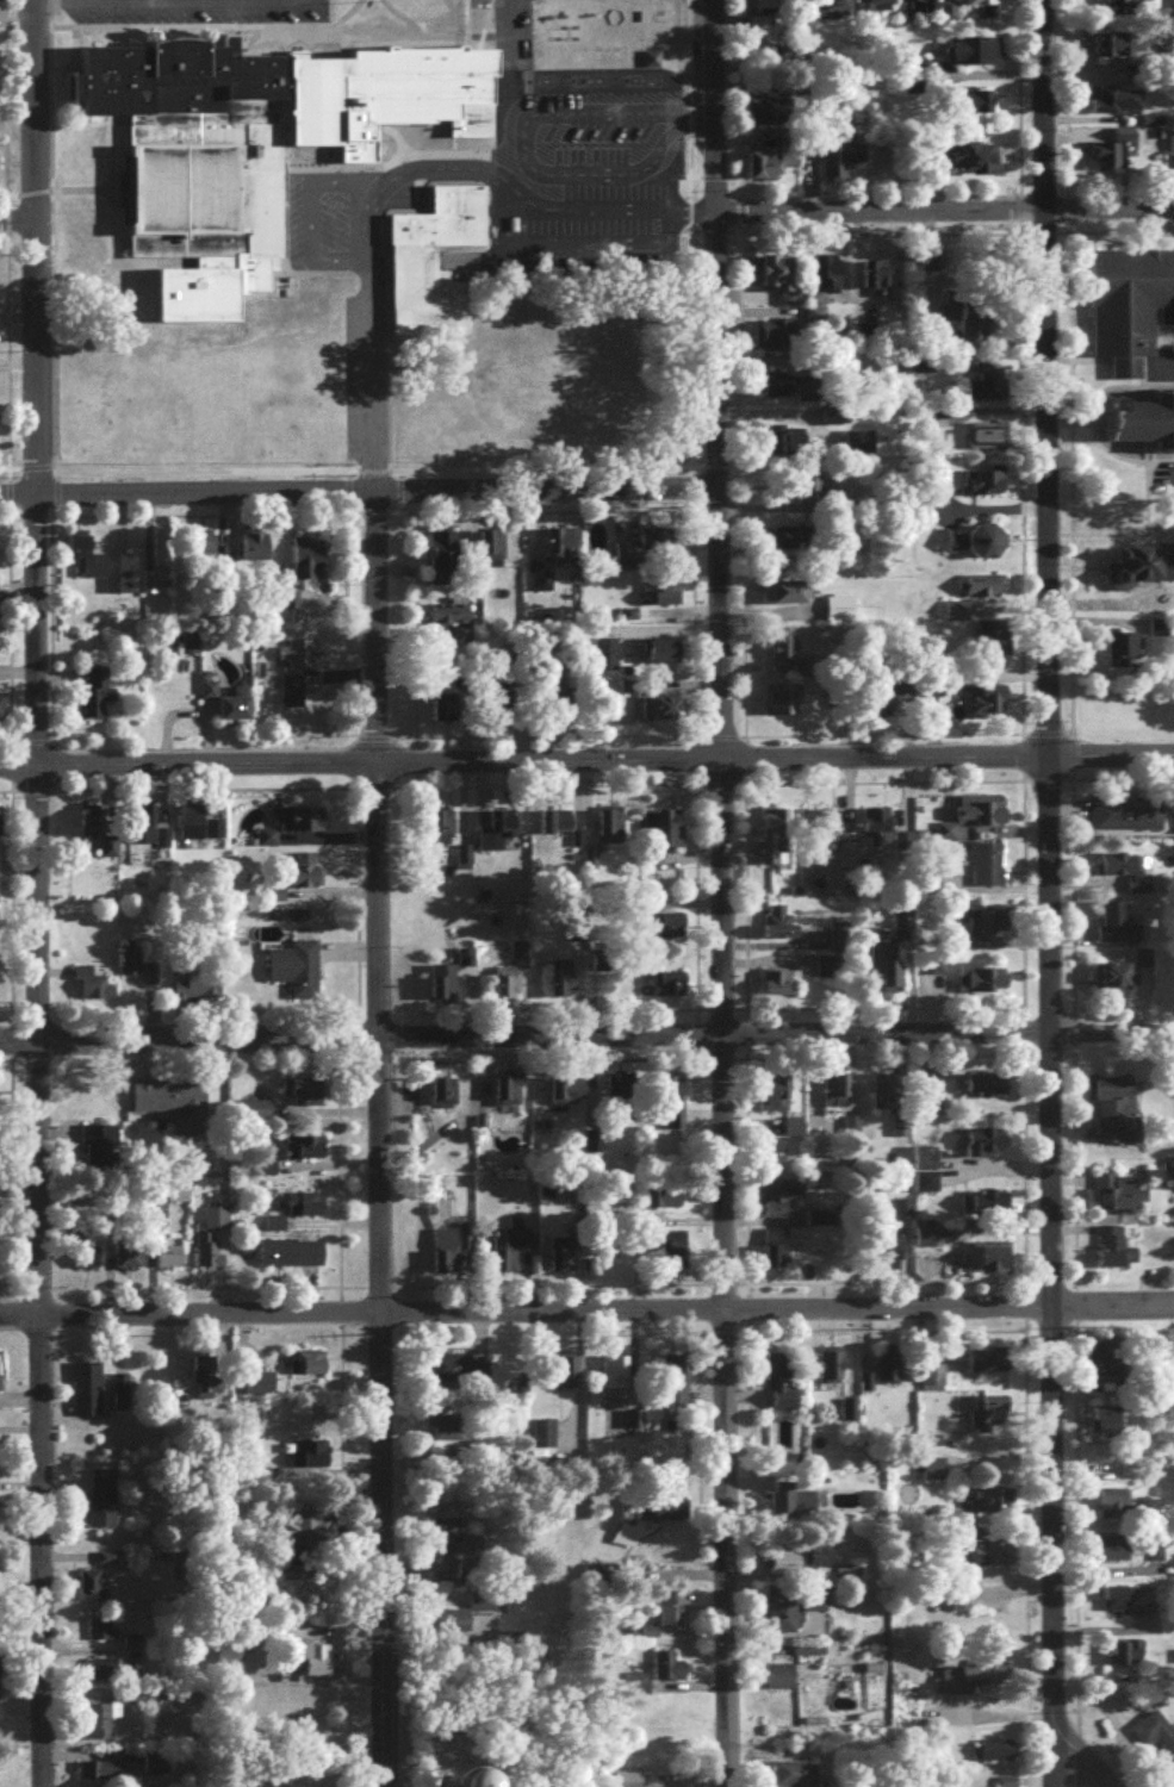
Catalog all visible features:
road: (190, 0)
building: (1, 5)
building: (839, 5)
building: (981, 5)
building: (1130, 7)
building: (770, 8)
building: (880, 8)
building: (928, 10)
parking lot: (186, 15)
building: (1118, 49)
building: (975, 56)
building: (977, 106)
building: (1114, 106)
building: (769, 117)
building: (1169, 149)
building: (1112, 156)
building: (257, 157)
building: (971, 163)
building: (840, 164)
building: (770, 168)
road: (604, 178)
parking lot: (596, 180)
road: (1107, 212)
road: (876, 216)
road: (13, 220)
parking lot: (330, 232)
building: (429, 251)
building: (781, 282)
building: (872, 284)
building: (820, 288)
building: (1129, 311)
building: (968, 323)
building: (775, 338)
road: (371, 356)
building: (777, 391)
building: (983, 391)
building: (1142, 424)
building: (984, 442)
building: (783, 447)
road: (1172, 480)
building: (986, 484)
building: (809, 492)
road: (355, 494)
building: (781, 544)
building: (986, 547)
building: (561, 548)
building: (203, 549)
building: (253, 550)
building: (445, 552)
building: (490, 552)
building: (645, 553)
building: (168, 565)
building: (308, 565)
building: (1149, 566)
building: (100, 569)
building: (981, 591)
building: (789, 597)
building: (660, 598)
building: (311, 610)
building: (1147, 611)
building: (837, 615)
building: (949, 615)
building: (452, 627)
building: (1156, 634)
building: (990, 645)
building: (781, 649)
building: (1120, 652)
building: (664, 656)
building: (302, 659)
building: (603, 660)
building: (908, 696)
building: (97, 698)
building: (292, 699)
building: (778, 705)
building: (988, 705)
building: (1, 710)
building: (237, 711)
building: (659, 714)
road: (1108, 760)
road: (521, 764)
building: (979, 817)
building: (1124, 821)
building: (872, 822)
building: (557, 827)
building: (201, 829)
building: (294, 829)
building: (0, 830)
building: (143, 830)
building: (609, 830)
building: (99, 833)
building: (441, 833)
building: (663, 834)
building: (496, 835)
building: (771, 841)
building: (986, 870)
building: (1125, 876)
road: (31, 893)
road: (714, 893)
road: (1044, 893)
building: (986, 924)
building: (672, 928)
building: (777, 928)
building: (1111, 928)
building: (833, 960)
building: (130, 967)
building: (933, 972)
building: (297, 973)
building: (1123, 979)
building: (889, 983)
building: (561, 985)
building: (981, 985)
building: (783, 986)
building: (443, 989)
building: (505, 989)
building: (669, 990)
building: (197, 994)
road: (586, 1039)
building: (983, 1092)
building: (508, 1096)
building: (566, 1096)
building: (303, 1097)
building: (443, 1097)
building: (883, 1098)
building: (170, 1103)
building: (771, 1104)
building: (671, 1113)
building: (257, 1116)
building: (1113, 1116)
building: (897, 1133)
building: (784, 1134)
road: (378, 1140)
building: (594, 1146)
building: (986, 1147)
building: (101, 1151)
building: (308, 1154)
building: (924, 1176)
building: (1112, 1197)
building: (669, 1203)
building: (779, 1203)
building: (988, 1209)
building: (308, 1210)
building: (901, 1214)
building: (216, 1223)
building: (275, 1229)
building: (924, 1243)
building: (672, 1251)
building: (511, 1253)
building: (776, 1254)
building: (1116, 1254)
building: (446, 1256)
building: (128, 1258)
building: (291, 1259)
building: (563, 1259)
building: (211, 1260)
building: (892, 1260)
building: (87, 1262)
building: (169, 1262)
building: (988, 1263)
road: (1108, 1308)
road: (522, 1315)
building: (984, 1365)
building: (1108, 1366)
building: (308, 1368)
building: (888, 1369)
building: (830, 1372)
building: (453, 1374)
building: (563, 1376)
building: (615, 1377)
building: (931, 1382)
building: (206, 1384)
building: (675, 1386)
building: (781, 1388)
building: (257, 1389)
building: (87, 1395)
building: (984, 1419)
building: (1106, 1430)
building: (313, 1459)
building: (932, 1475)
building: (1126, 1483)
building: (791, 1506)
building: (104, 1507)
building: (995, 1507)
building: (1113, 1511)
building: (310, 1532)
building: (454, 1555)
building: (1112, 1556)
building: (984, 1559)
building: (107, 1563)
building: (784, 1568)
building: (93, 1592)
building: (814, 1605)
building: (1117, 1607)
building: (675, 1614)
building: (782, 1615)
building: (103, 1635)
building: (1128, 1660)
building: (318, 1665)
building: (669, 1671)
building: (105, 1675)
building: (975, 1683)
building: (781, 1687)
building: (0, 1689)
building: (106, 1720)
building: (1156, 1737)
building: (996, 1756)
road: (1075, 1762)
building: (101, 1776)
building: (793, 1776)
building: (629, 1781)
building: (490, 1782)
water tower: (465, 1786)

